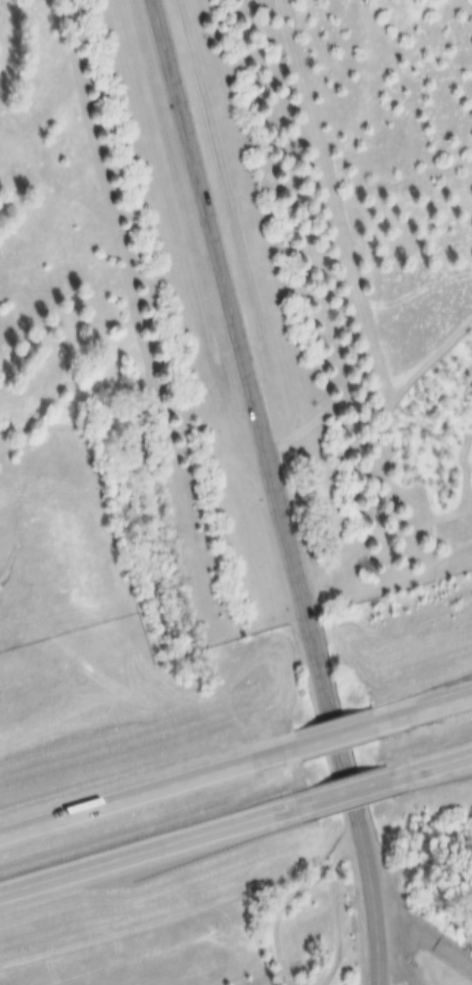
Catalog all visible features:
road: (277, 490)
road: (439, 720)
road: (349, 748)
road: (439, 783)
road: (145, 803)
road: (356, 808)
road: (152, 865)
road: (423, 937)
road: (393, 945)

